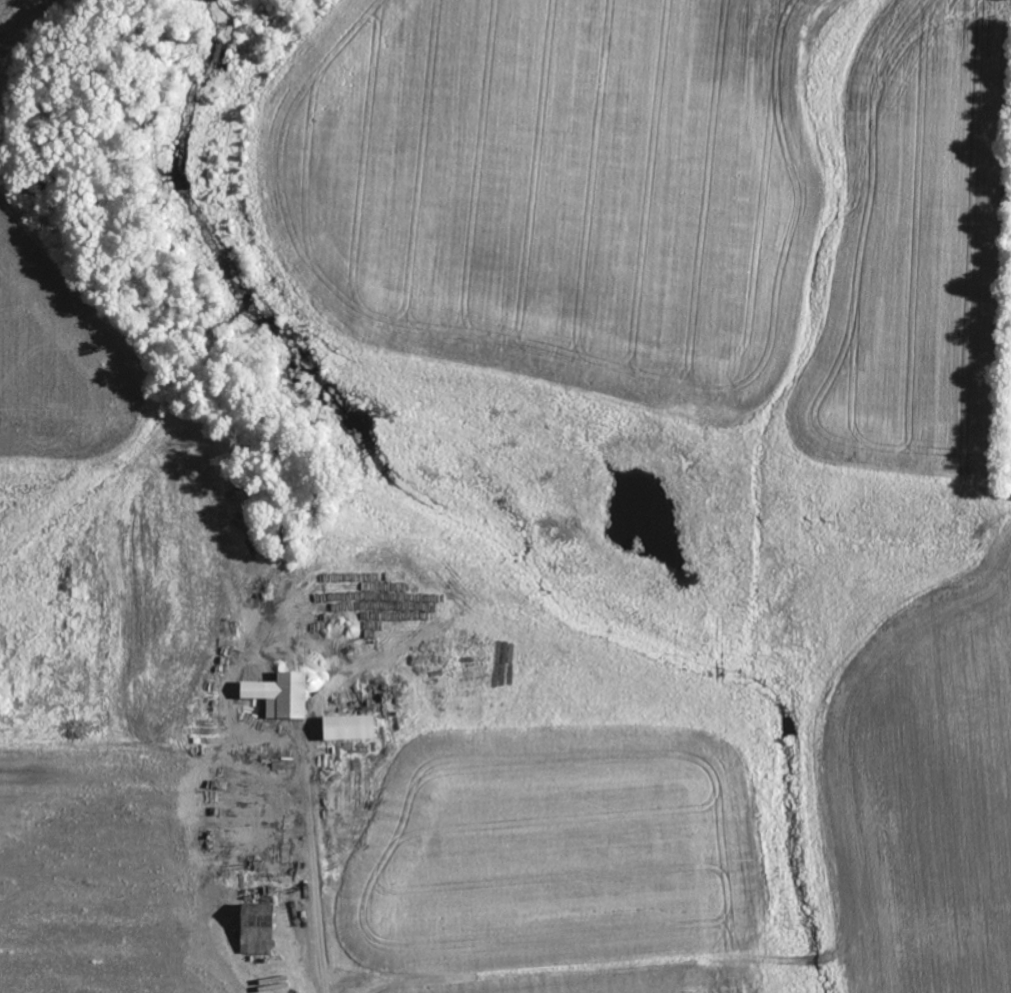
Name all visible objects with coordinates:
building: (279, 696)
building: (348, 728)
building: (256, 930)

